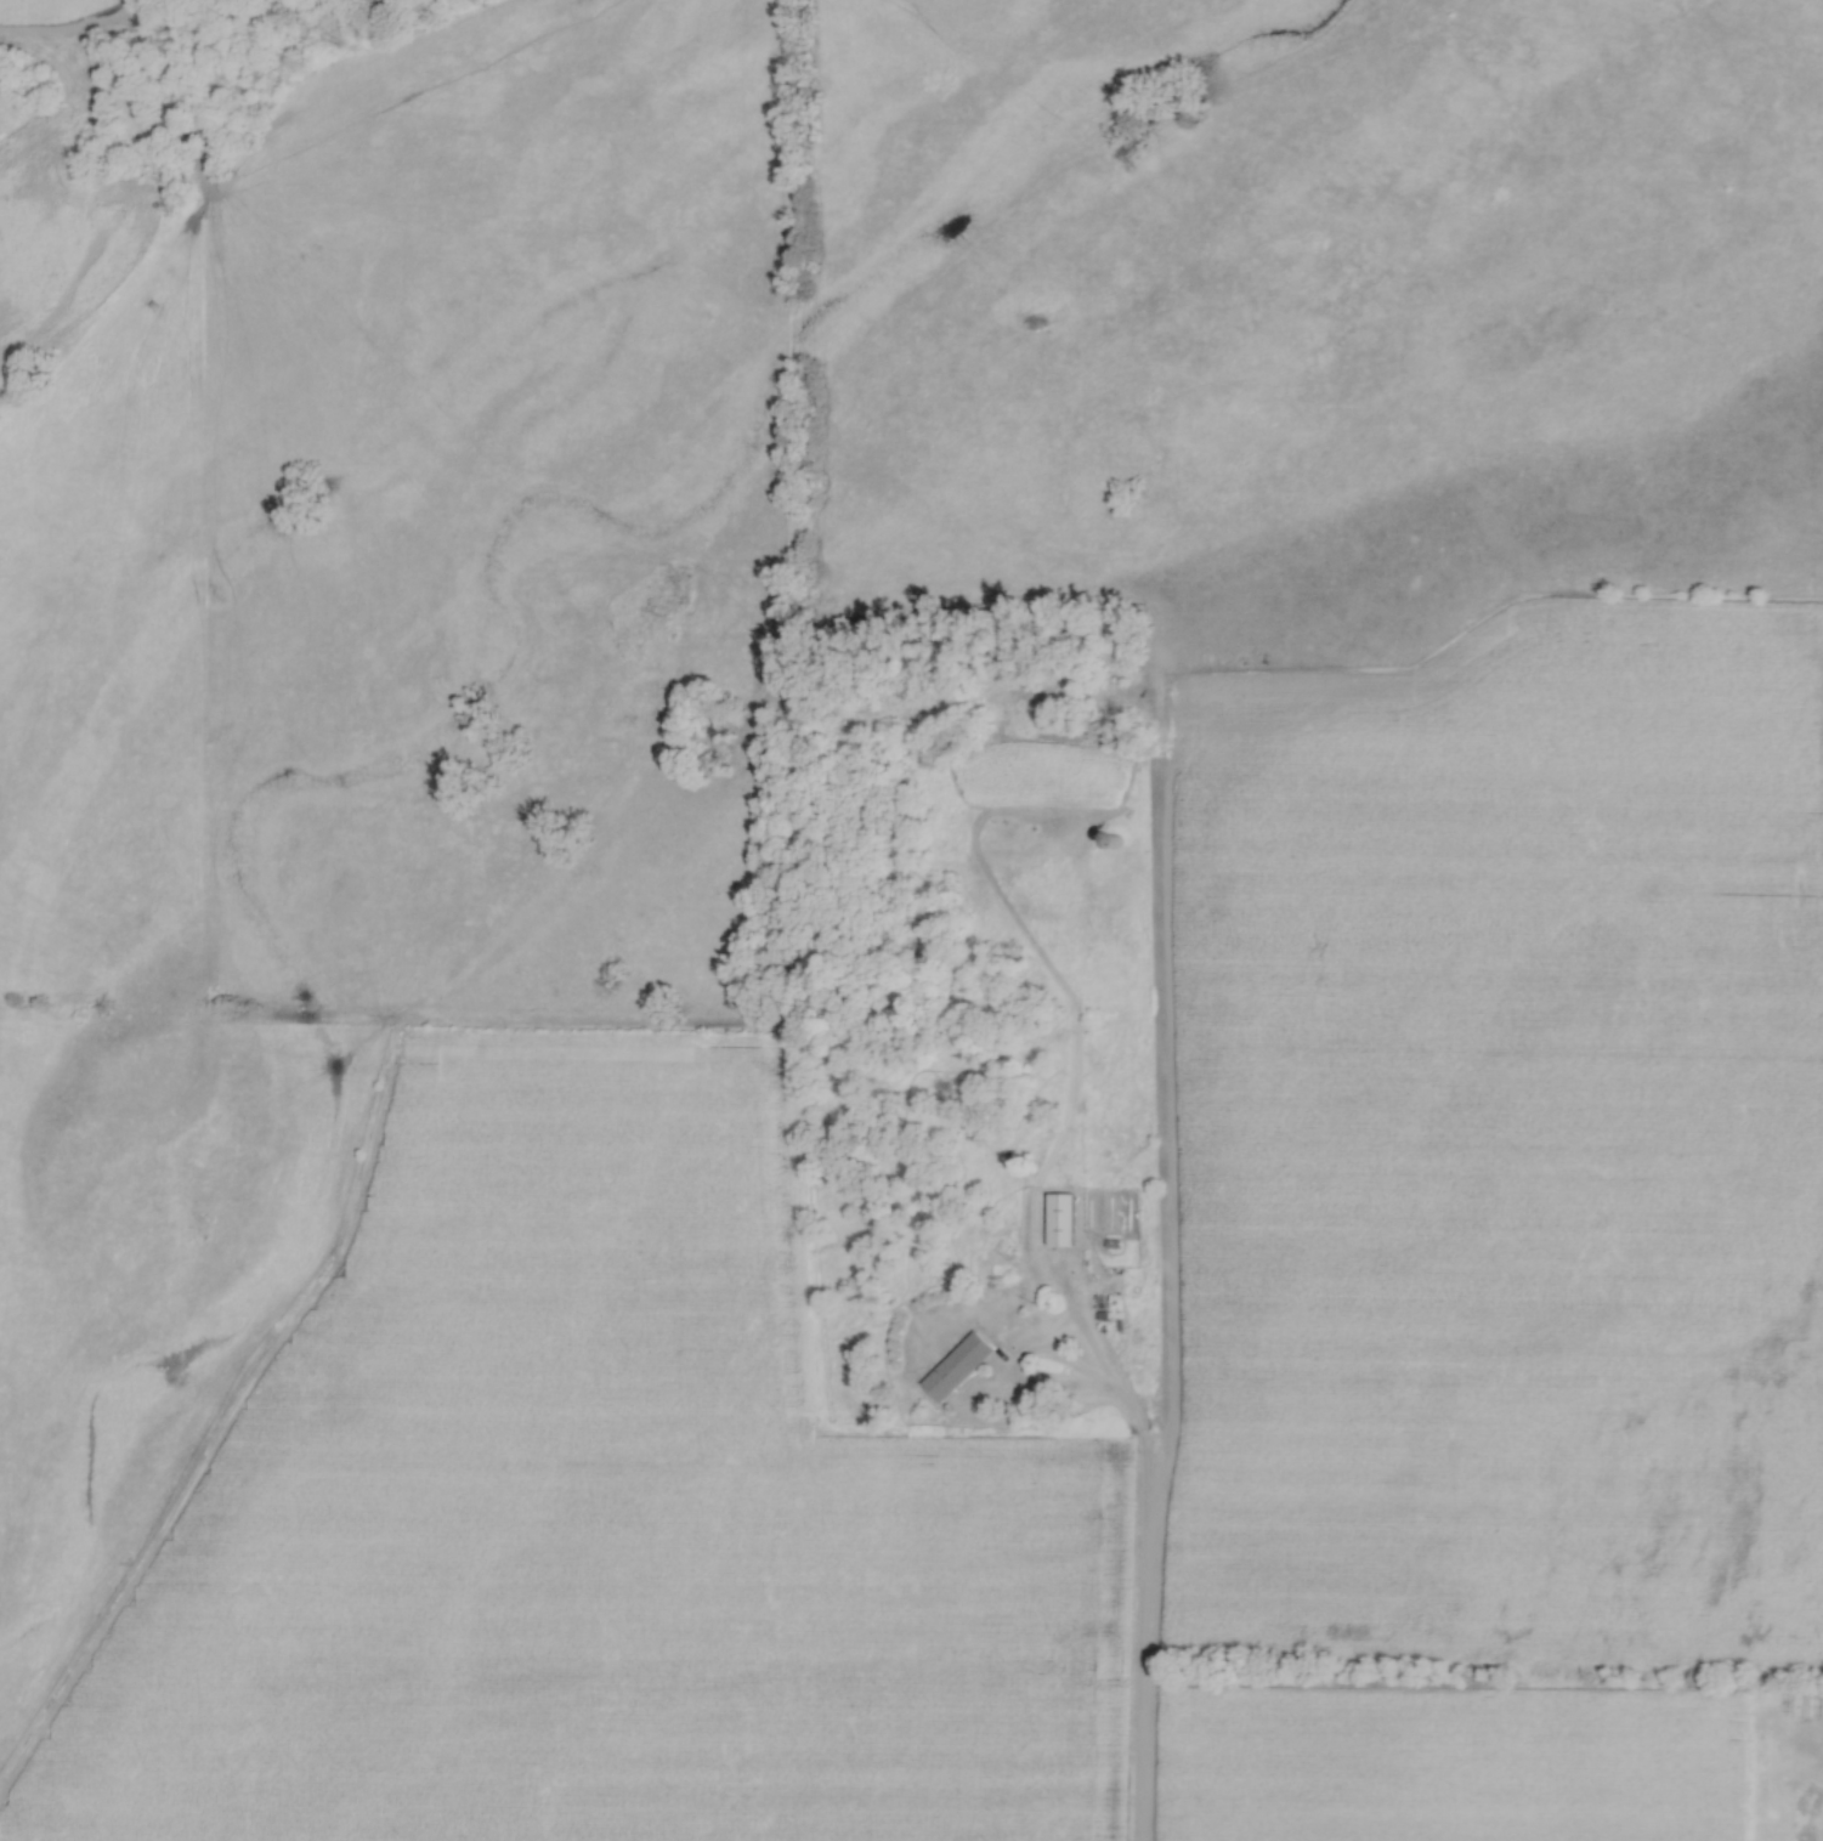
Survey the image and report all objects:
building: (1059, 1219)
road: (1178, 1274)
building: (958, 1364)
road: (1020, 1364)
road: (1136, 1429)

